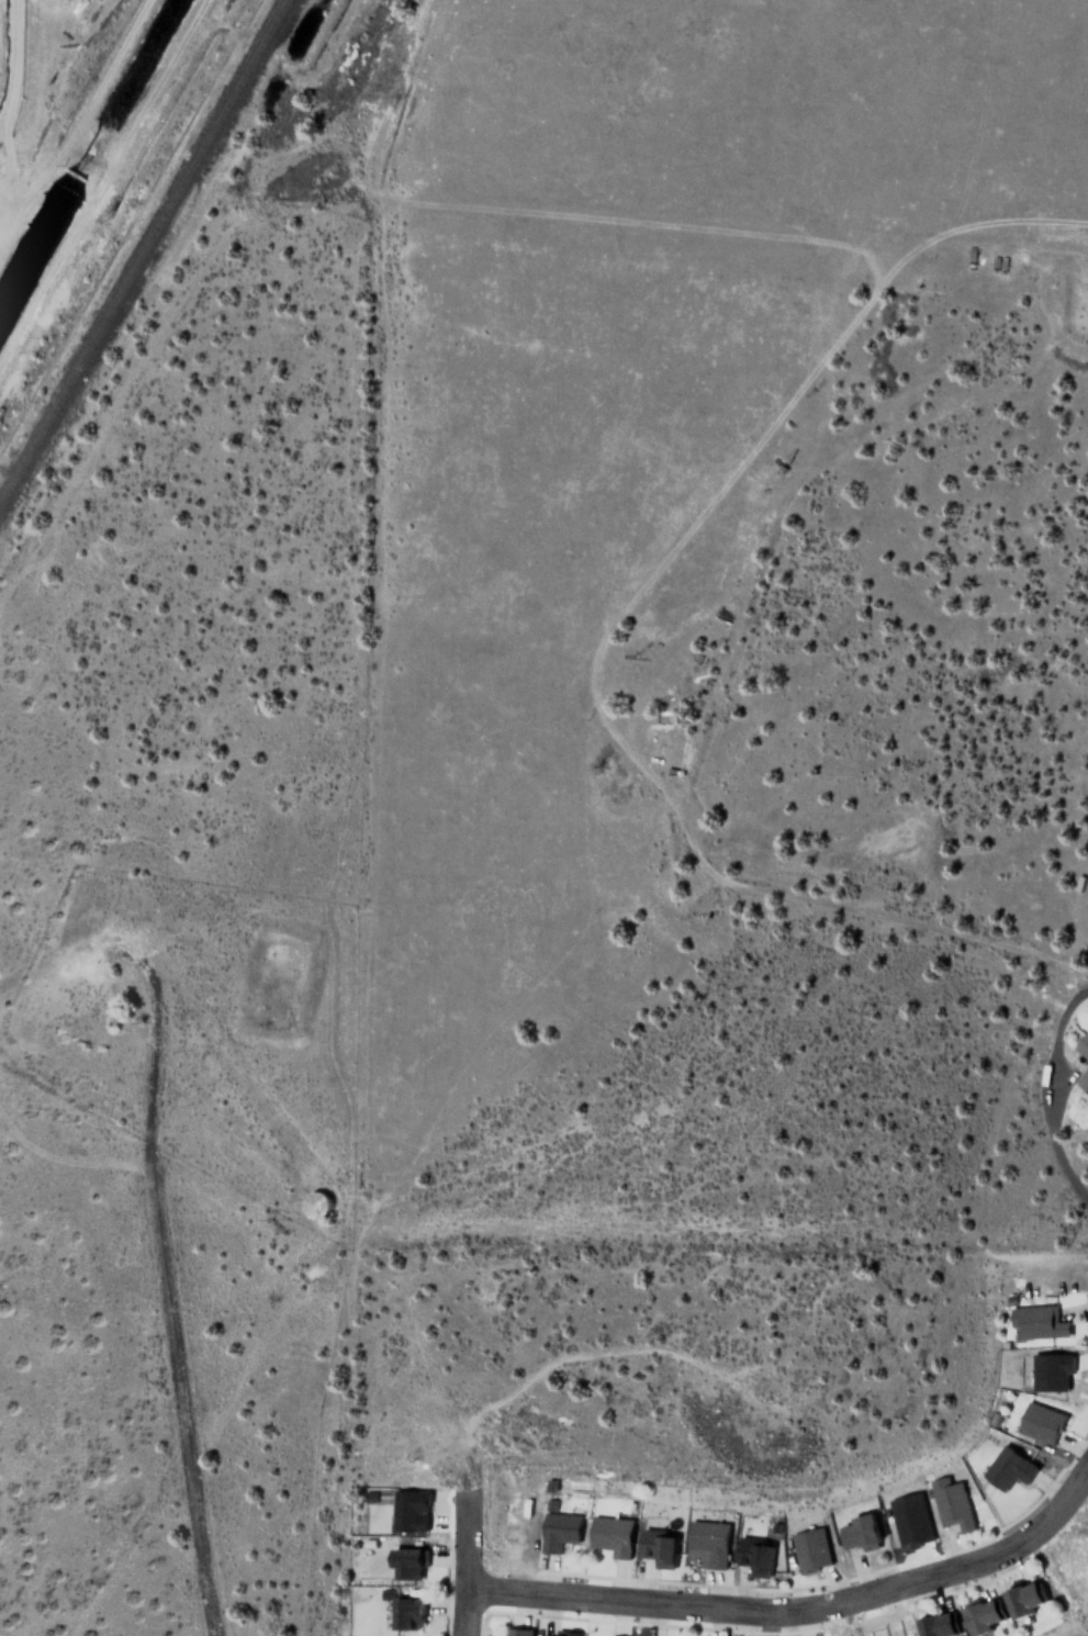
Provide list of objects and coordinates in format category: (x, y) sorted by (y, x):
railway: (146, 258)
road: (188, 296)
building: (1081, 1044)
road: (237, 1068)
building: (1084, 1076)
road: (1058, 1153)
water tower: (314, 1203)
road: (167, 1288)
building: (1035, 1322)
building: (1050, 1371)
building: (1040, 1423)
building: (1008, 1468)
building: (952, 1503)
building: (411, 1510)
building: (910, 1520)
building: (559, 1531)
building: (857, 1532)
building: (612, 1535)
building: (708, 1543)
building: (658, 1547)
building: (810, 1550)
building: (754, 1555)
building: (405, 1564)
road: (470, 1569)
building: (1021, 1598)
road: (800, 1610)
building: (406, 1613)
building: (978, 1616)
building: (934, 1625)
building: (515, 1632)
building: (553, 1634)

